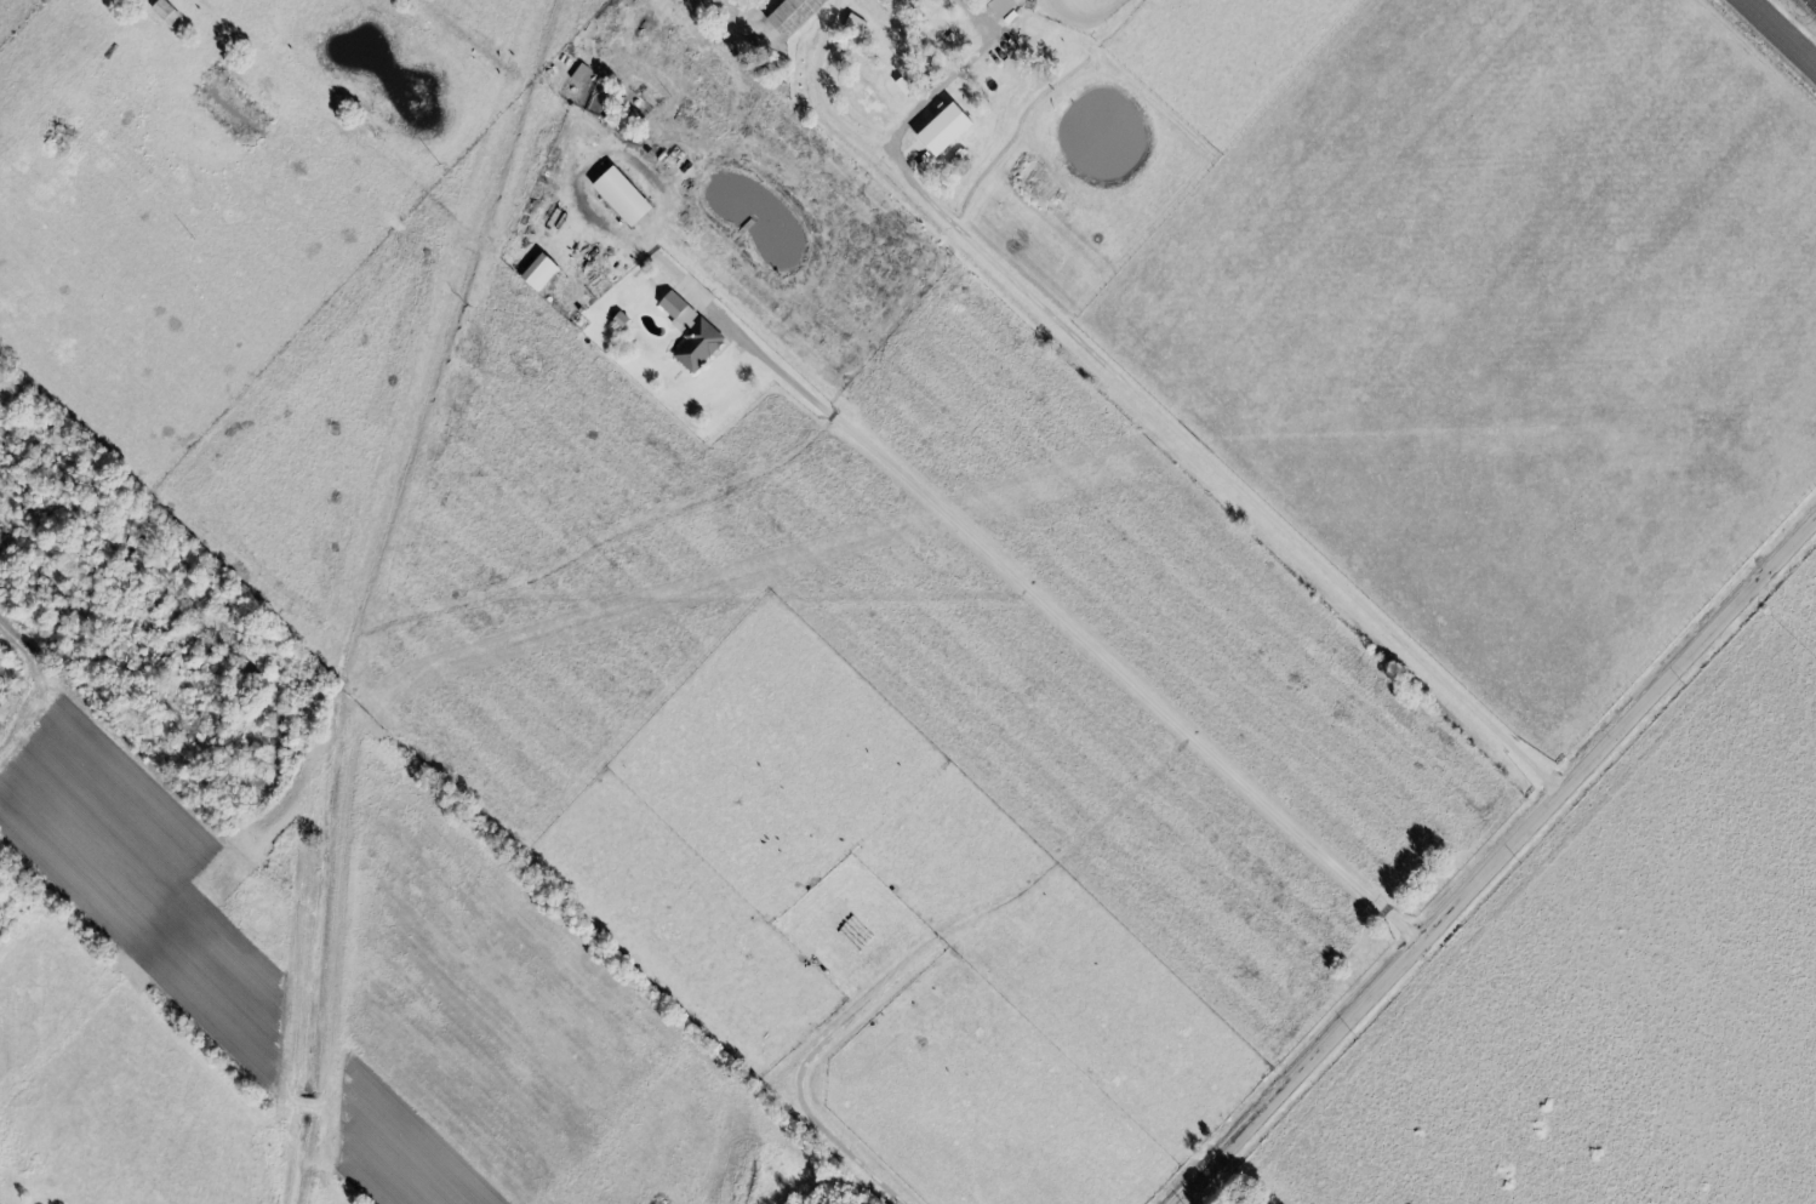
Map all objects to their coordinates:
road: (955, 4)
building: (1004, 6)
building: (167, 11)
building: (798, 15)
road: (818, 92)
building: (949, 129)
building: (627, 196)
building: (542, 272)
building: (692, 332)
road: (1148, 413)
road: (1784, 614)
road: (1066, 623)
road: (1498, 865)
building: (1240, 1203)

